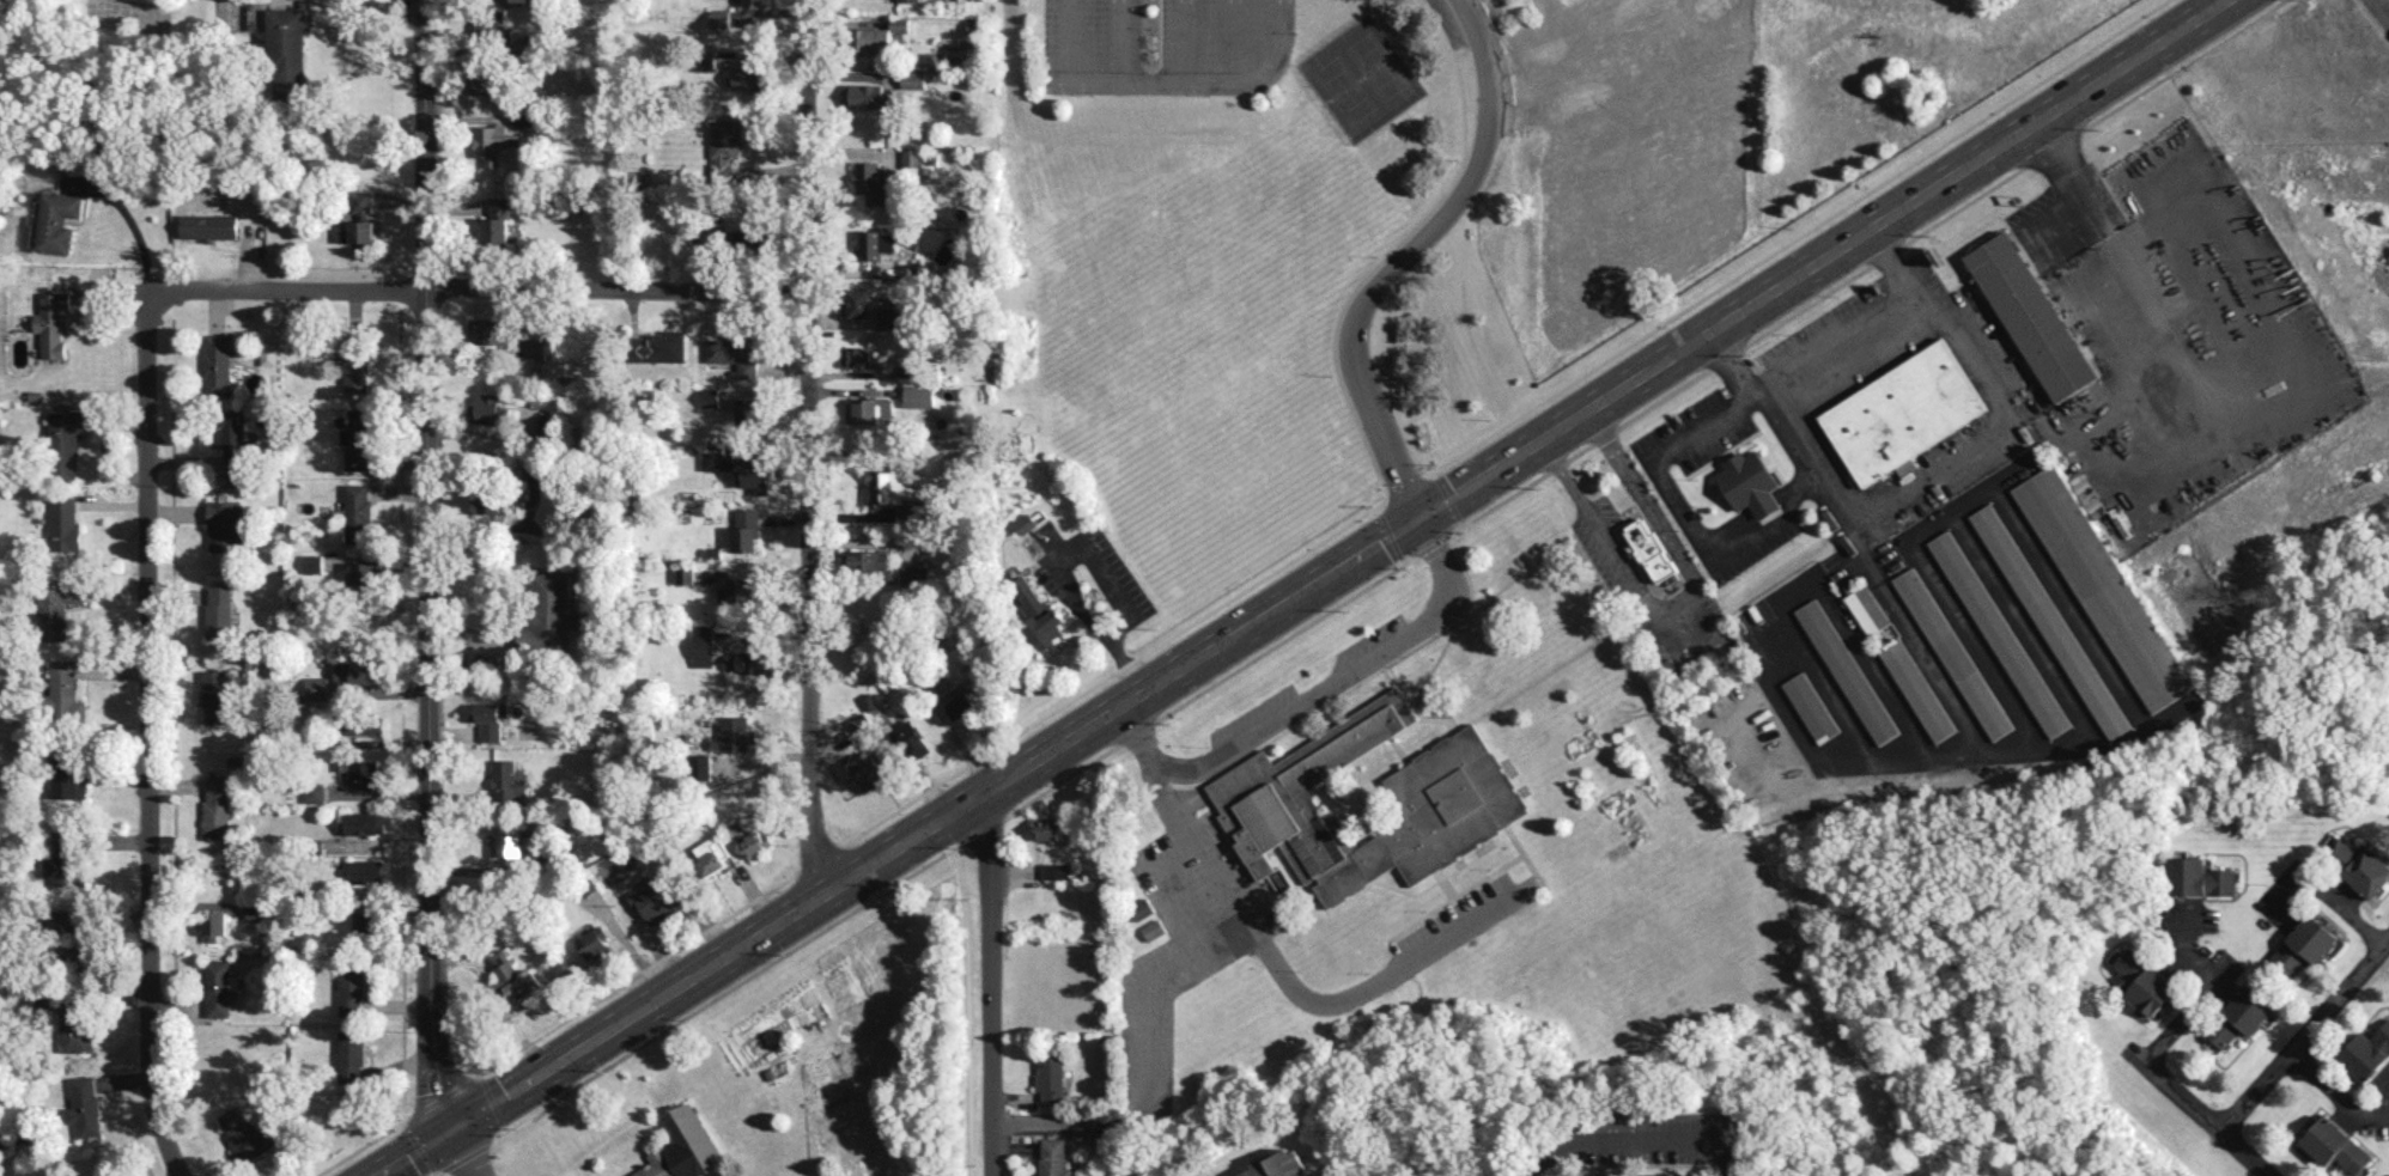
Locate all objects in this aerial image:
building: (906, 0)
building: (754, 1)
road: (388, 6)
building: (719, 18)
building: (898, 24)
building: (491, 31)
building: (874, 38)
road: (1117, 42)
road: (1181, 42)
road: (1232, 42)
road: (1566, 44)
building: (284, 45)
parking lot: (1163, 48)
building: (705, 60)
park: (1378, 68)
building: (748, 78)
building: (912, 78)
road: (1611, 80)
building: (490, 83)
road: (1166, 84)
park: (1344, 92)
building: (868, 95)
building: (523, 117)
building: (493, 141)
building: (723, 147)
road: (1660, 152)
building: (911, 156)
road: (2071, 178)
building: (869, 181)
road: (1613, 182)
building: (359, 219)
building: (497, 219)
building: (57, 220)
road: (134, 221)
building: (209, 225)
building: (716, 229)
building: (873, 243)
road: (1402, 256)
road: (1823, 260)
road: (1646, 266)
road: (480, 290)
building: (858, 301)
building: (889, 317)
road: (1940, 319)
building: (2031, 321)
building: (53, 323)
building: (488, 330)
road: (2314, 341)
road: (2169, 345)
building: (657, 346)
building: (535, 347)
building: (735, 353)
building: (856, 355)
building: (217, 364)
building: (357, 364)
building: (917, 395)
building: (709, 397)
road: (2018, 402)
building: (491, 408)
building: (747, 410)
building: (873, 410)
building: (1901, 415)
road: (2063, 425)
road: (1690, 433)
building: (358, 438)
building: (65, 444)
road: (811, 446)
road: (1789, 447)
building: (753, 475)
road: (1921, 475)
building: (883, 485)
building: (1749, 487)
building: (358, 512)
building: (902, 512)
traffic signals: (1418, 519)
building: (1025, 522)
building: (65, 524)
building: (224, 525)
road: (493, 525)
building: (744, 529)
road: (1434, 547)
building: (868, 561)
road: (1057, 561)
building: (312, 562)
road: (431, 567)
building: (364, 574)
building: (682, 574)
building: (913, 574)
building: (2102, 587)
building: (738, 590)
building: (57, 604)
building: (1867, 609)
building: (219, 610)
building: (1035, 611)
building: (547, 613)
road: (1682, 616)
building: (2049, 620)
building: (1999, 633)
building: (701, 644)
building: (1952, 652)
building: (752, 662)
building: (1847, 670)
building: (357, 671)
building: (317, 687)
building: (1917, 690)
building: (62, 691)
road: (1318, 694)
building: (215, 695)
building: (868, 700)
building: (960, 705)
building: (1811, 706)
building: (491, 719)
building: (363, 726)
building: (734, 733)
road: (1137, 733)
building: (911, 738)
road: (147, 741)
building: (699, 767)
building: (867, 769)
building: (506, 781)
building: (69, 782)
building: (315, 792)
building: (1457, 797)
building: (217, 805)
building: (364, 822)
building: (1048, 828)
building: (510, 840)
building: (754, 842)
road: (1197, 842)
road: (892, 843)
building: (710, 854)
building: (63, 864)
road: (636, 866)
building: (2360, 866)
building: (1056, 870)
building: (365, 871)
building: (2199, 877)
building: (655, 896)
road: (2334, 900)
building: (1141, 908)
building: (366, 924)
building: (214, 925)
building: (1154, 928)
building: (74, 934)
building: (592, 943)
building: (2302, 945)
building: (515, 976)
road: (991, 979)
road: (1376, 981)
building: (2144, 983)
building: (217, 987)
building: (351, 991)
building: (2242, 1014)
road: (2174, 1026)
building: (74, 1034)
building: (2366, 1053)
building: (351, 1055)
road: (2284, 1060)
road: (1149, 1066)
building: (1051, 1077)
road: (2334, 1095)
building: (84, 1105)
building: (1611, 1120)
building: (242, 1133)
building: (2, 1134)
road: (1634, 1137)
building: (2335, 1145)
building: (682, 1146)
road: (455, 1154)
building: (1053, 1157)
building: (1279, 1164)
building: (1664, 1174)
building: (1605, 1175)

